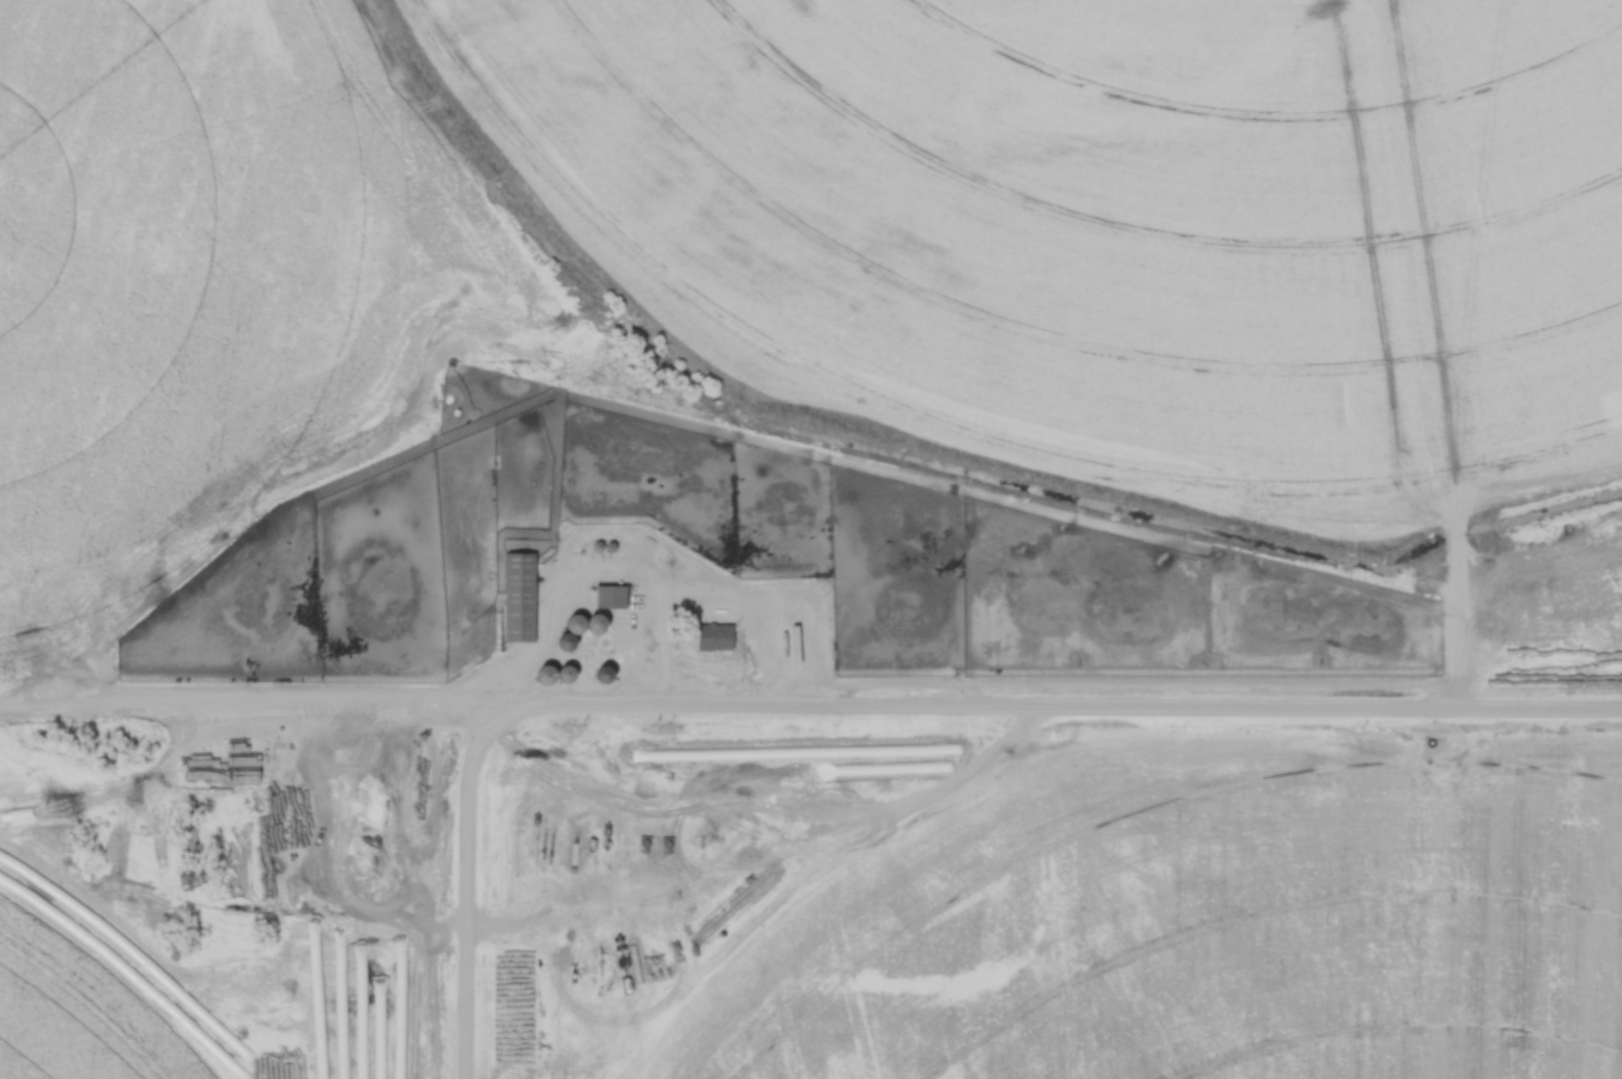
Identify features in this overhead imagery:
building: (612, 596)
building: (520, 597)
building: (600, 632)
building: (715, 637)
building: (604, 675)
building: (556, 676)
road: (1061, 715)
road: (474, 899)

